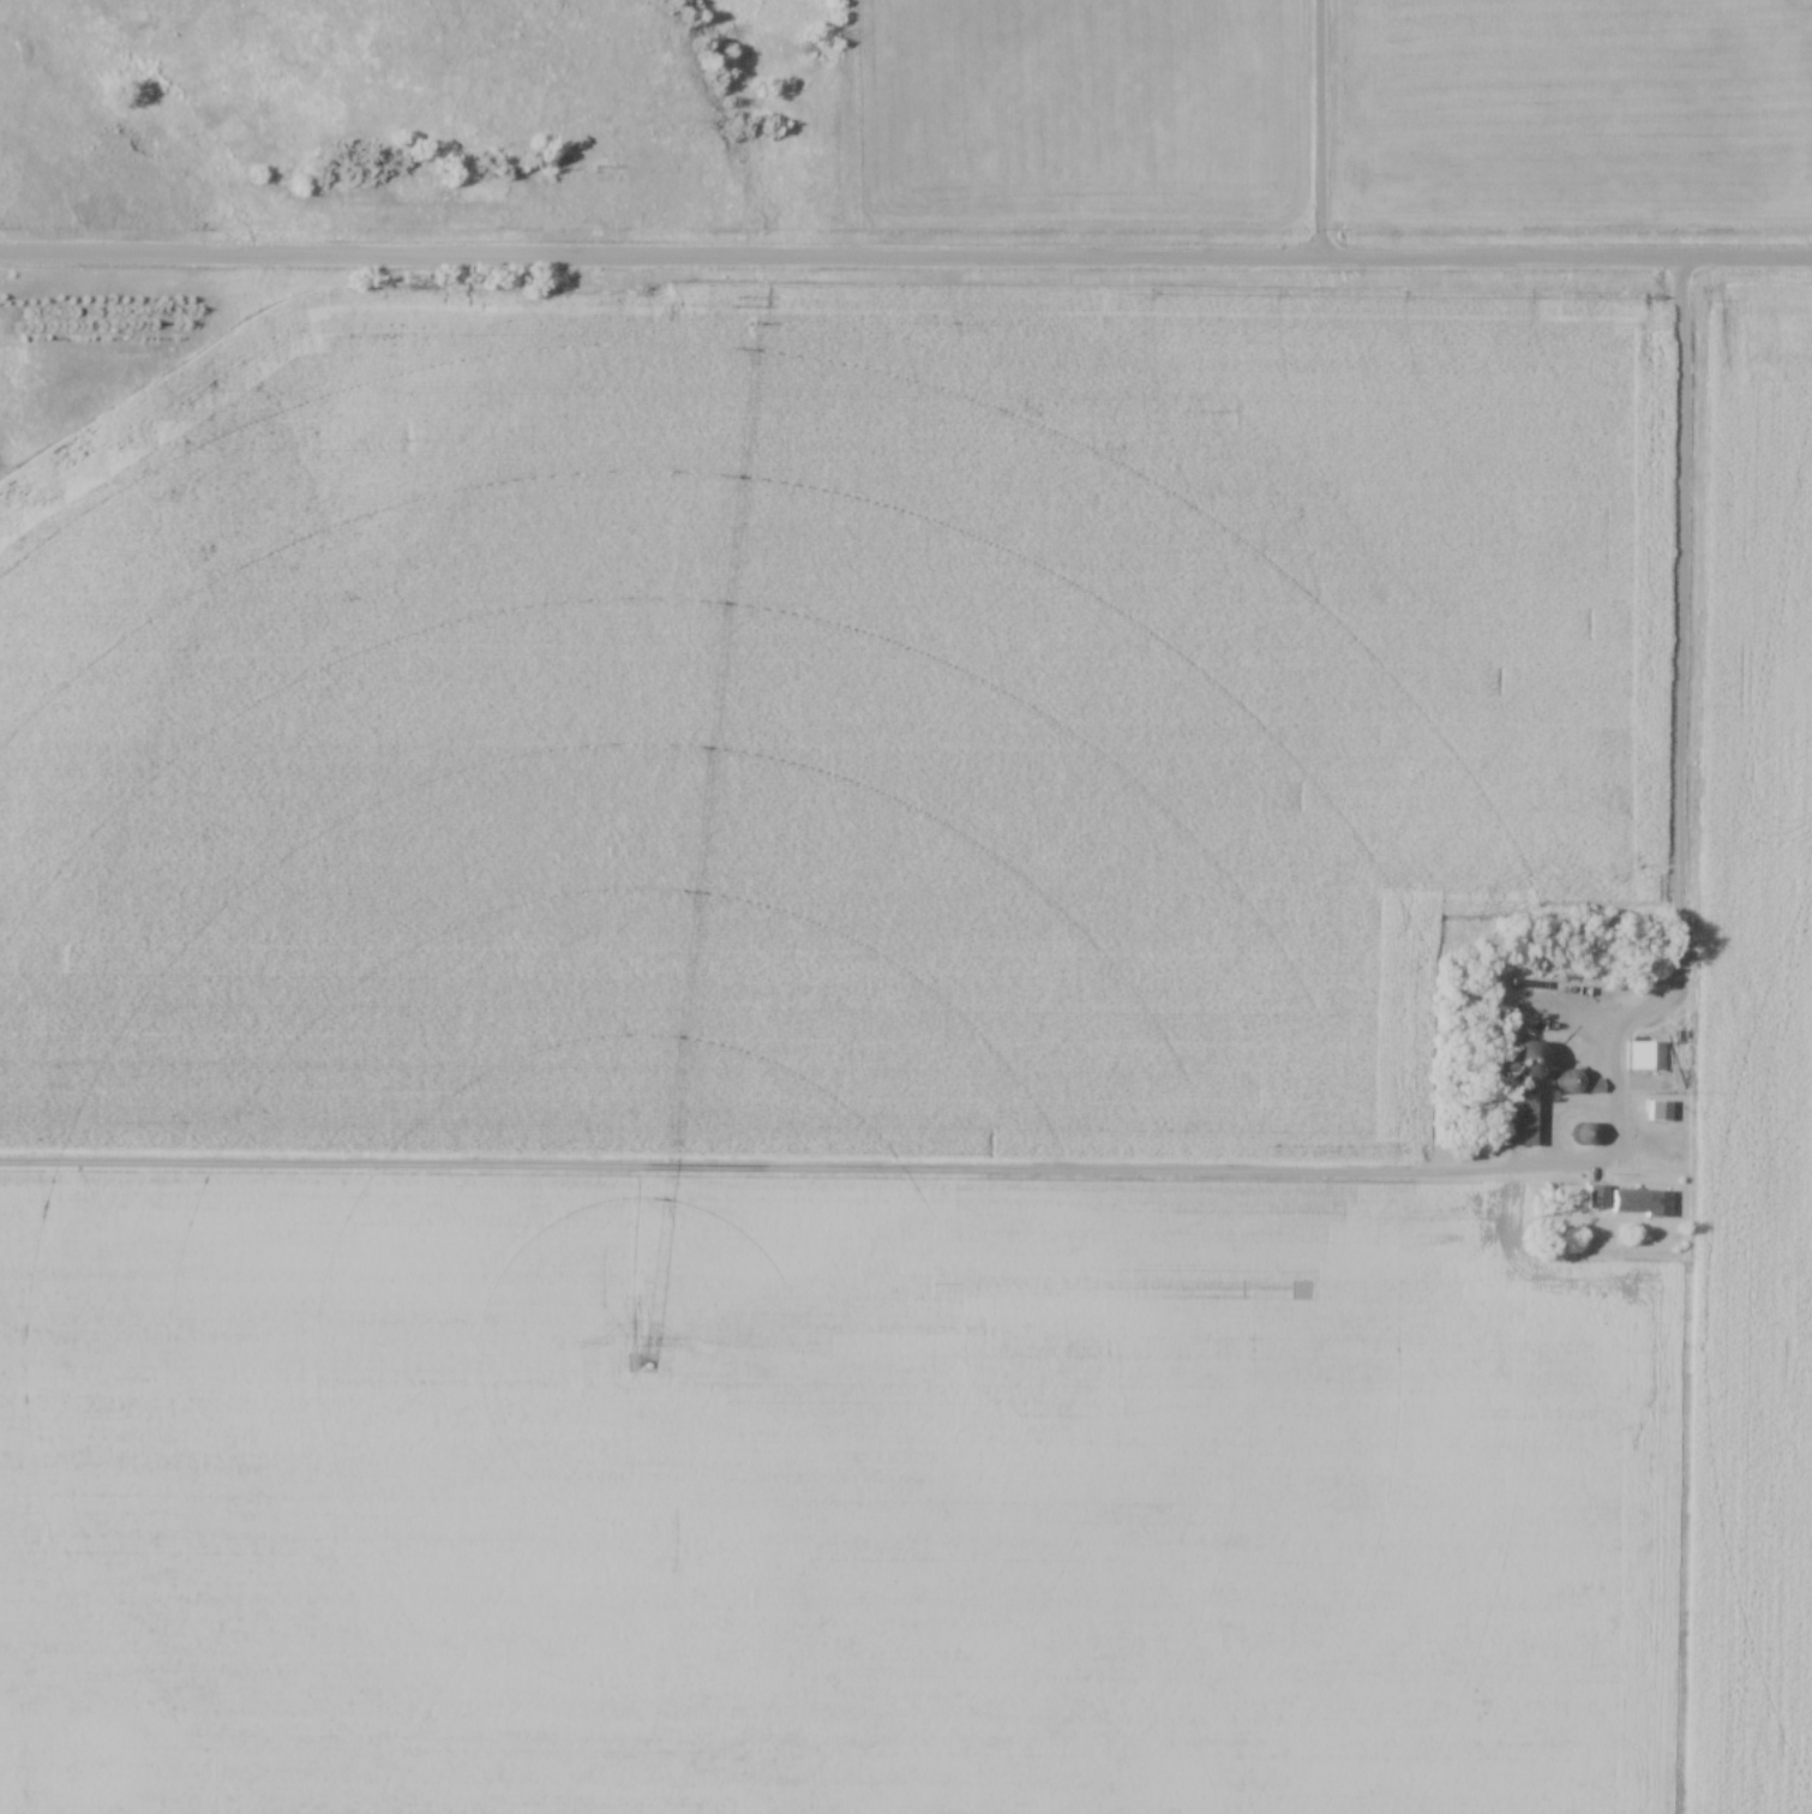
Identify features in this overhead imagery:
road: (1316, 130)
road: (905, 258)
building: (1643, 1055)
building: (1516, 1061)
building: (1512, 1115)
building: (1580, 1130)
road: (799, 1171)
building: (1625, 1201)

